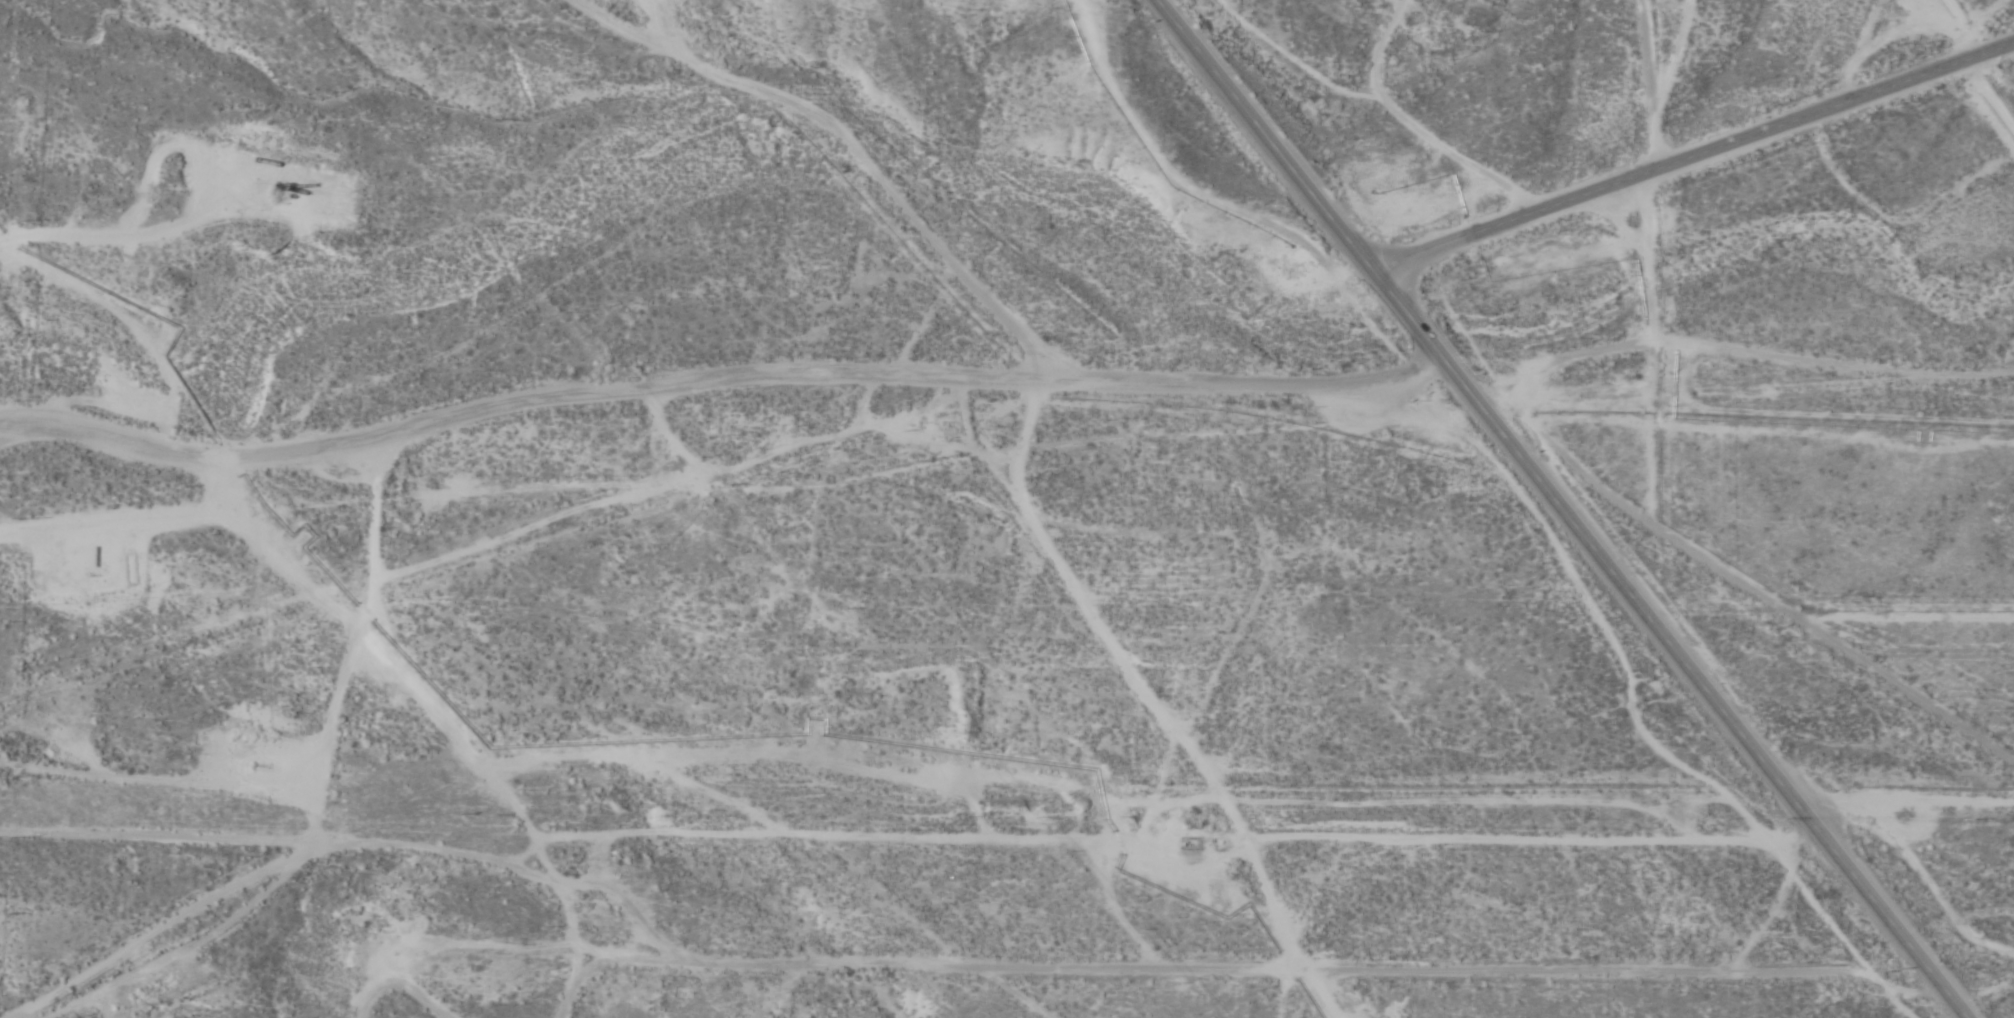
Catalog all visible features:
road: (1655, 83)
road: (1694, 156)
road: (728, 378)
road: (1566, 508)
road: (910, 962)

